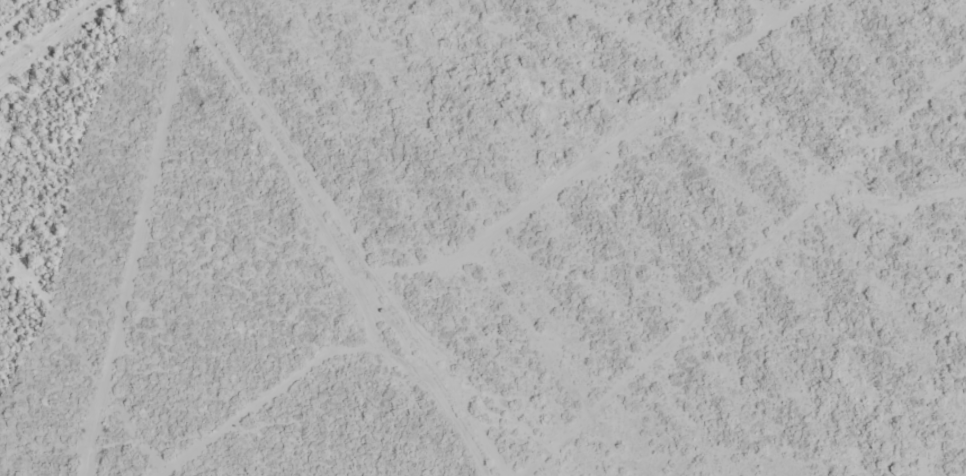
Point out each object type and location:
road: (32, 394)

